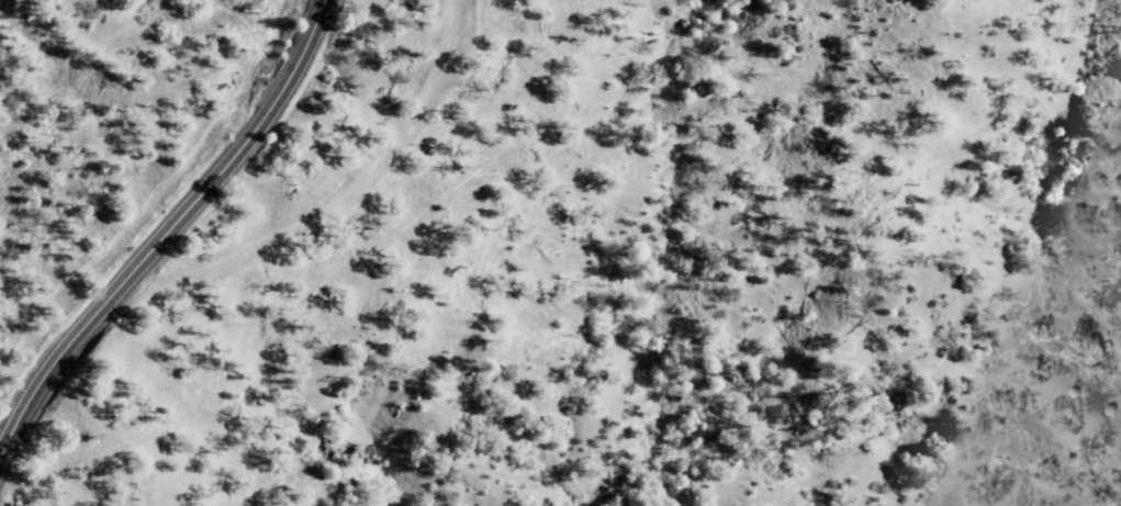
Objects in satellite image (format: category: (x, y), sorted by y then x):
road: (169, 236)

